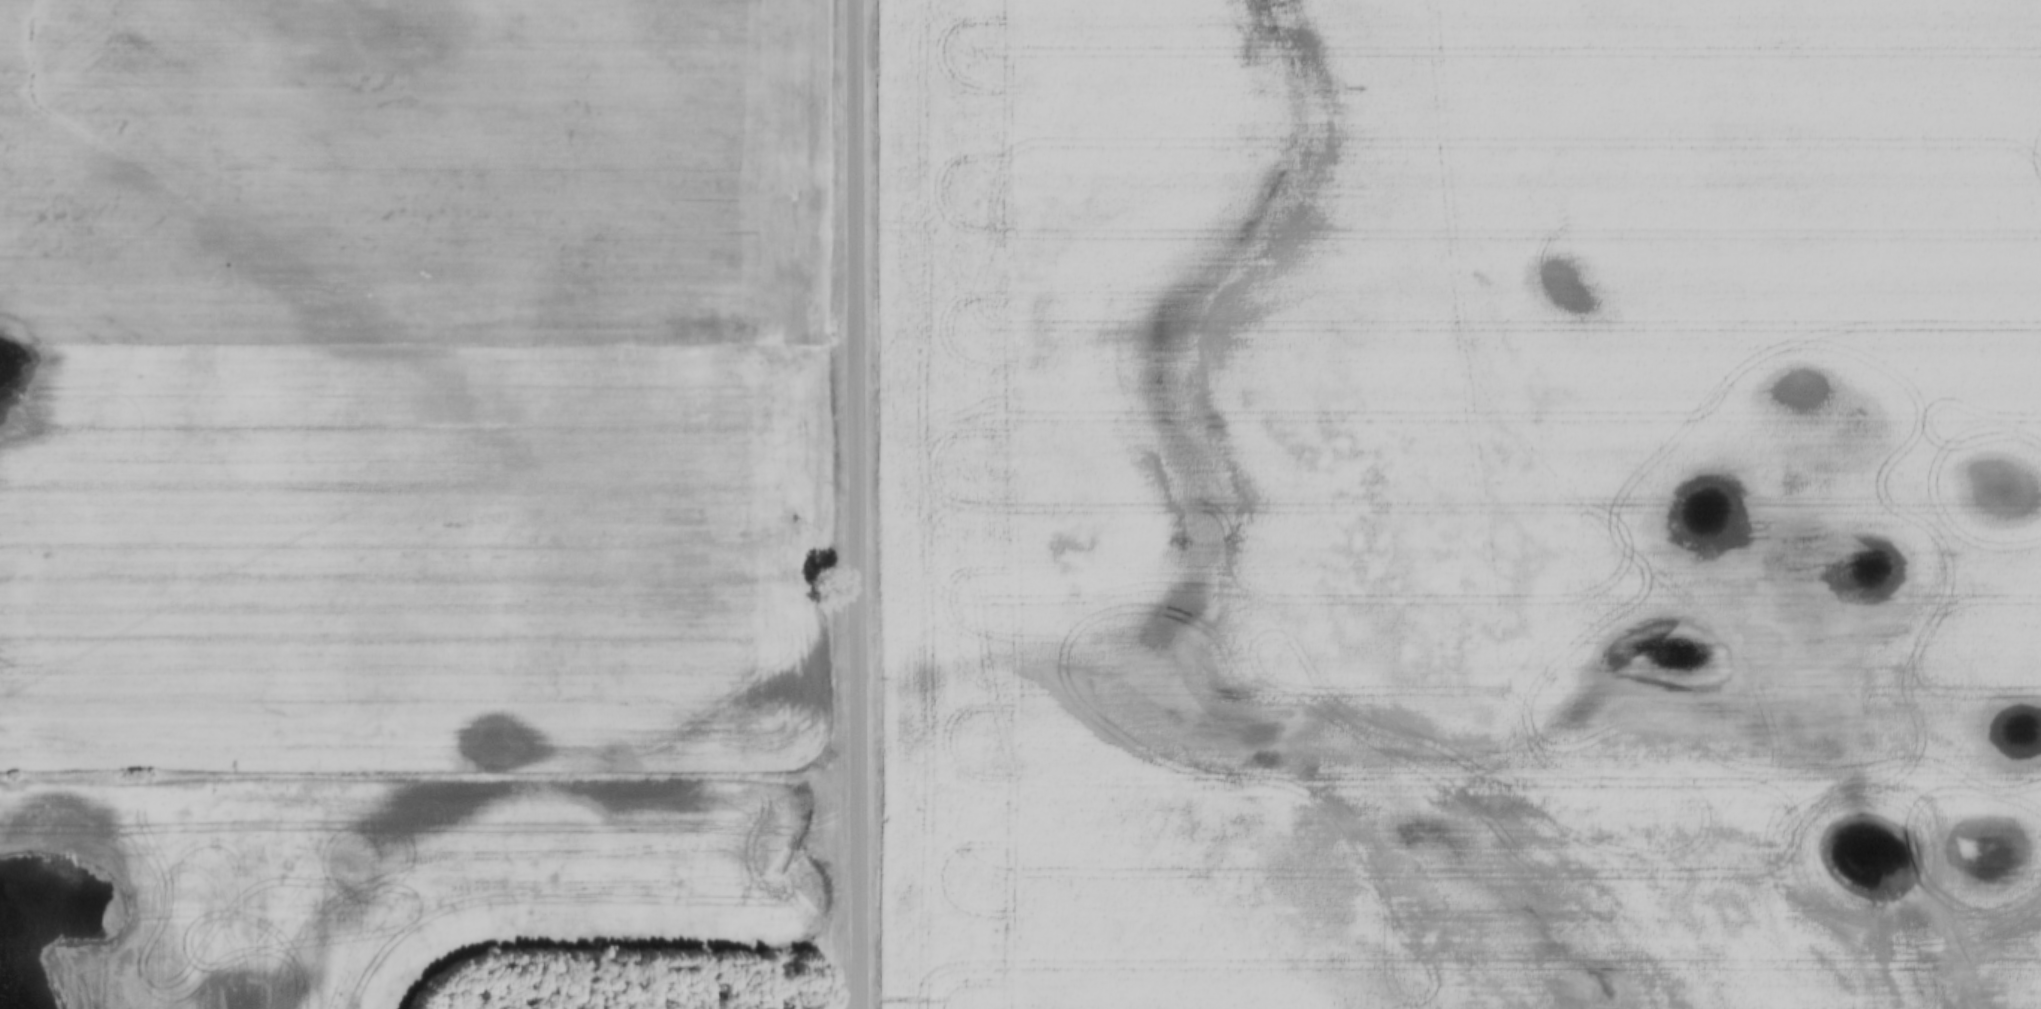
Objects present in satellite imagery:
road: (856, 504)
crop: (407, 506)

